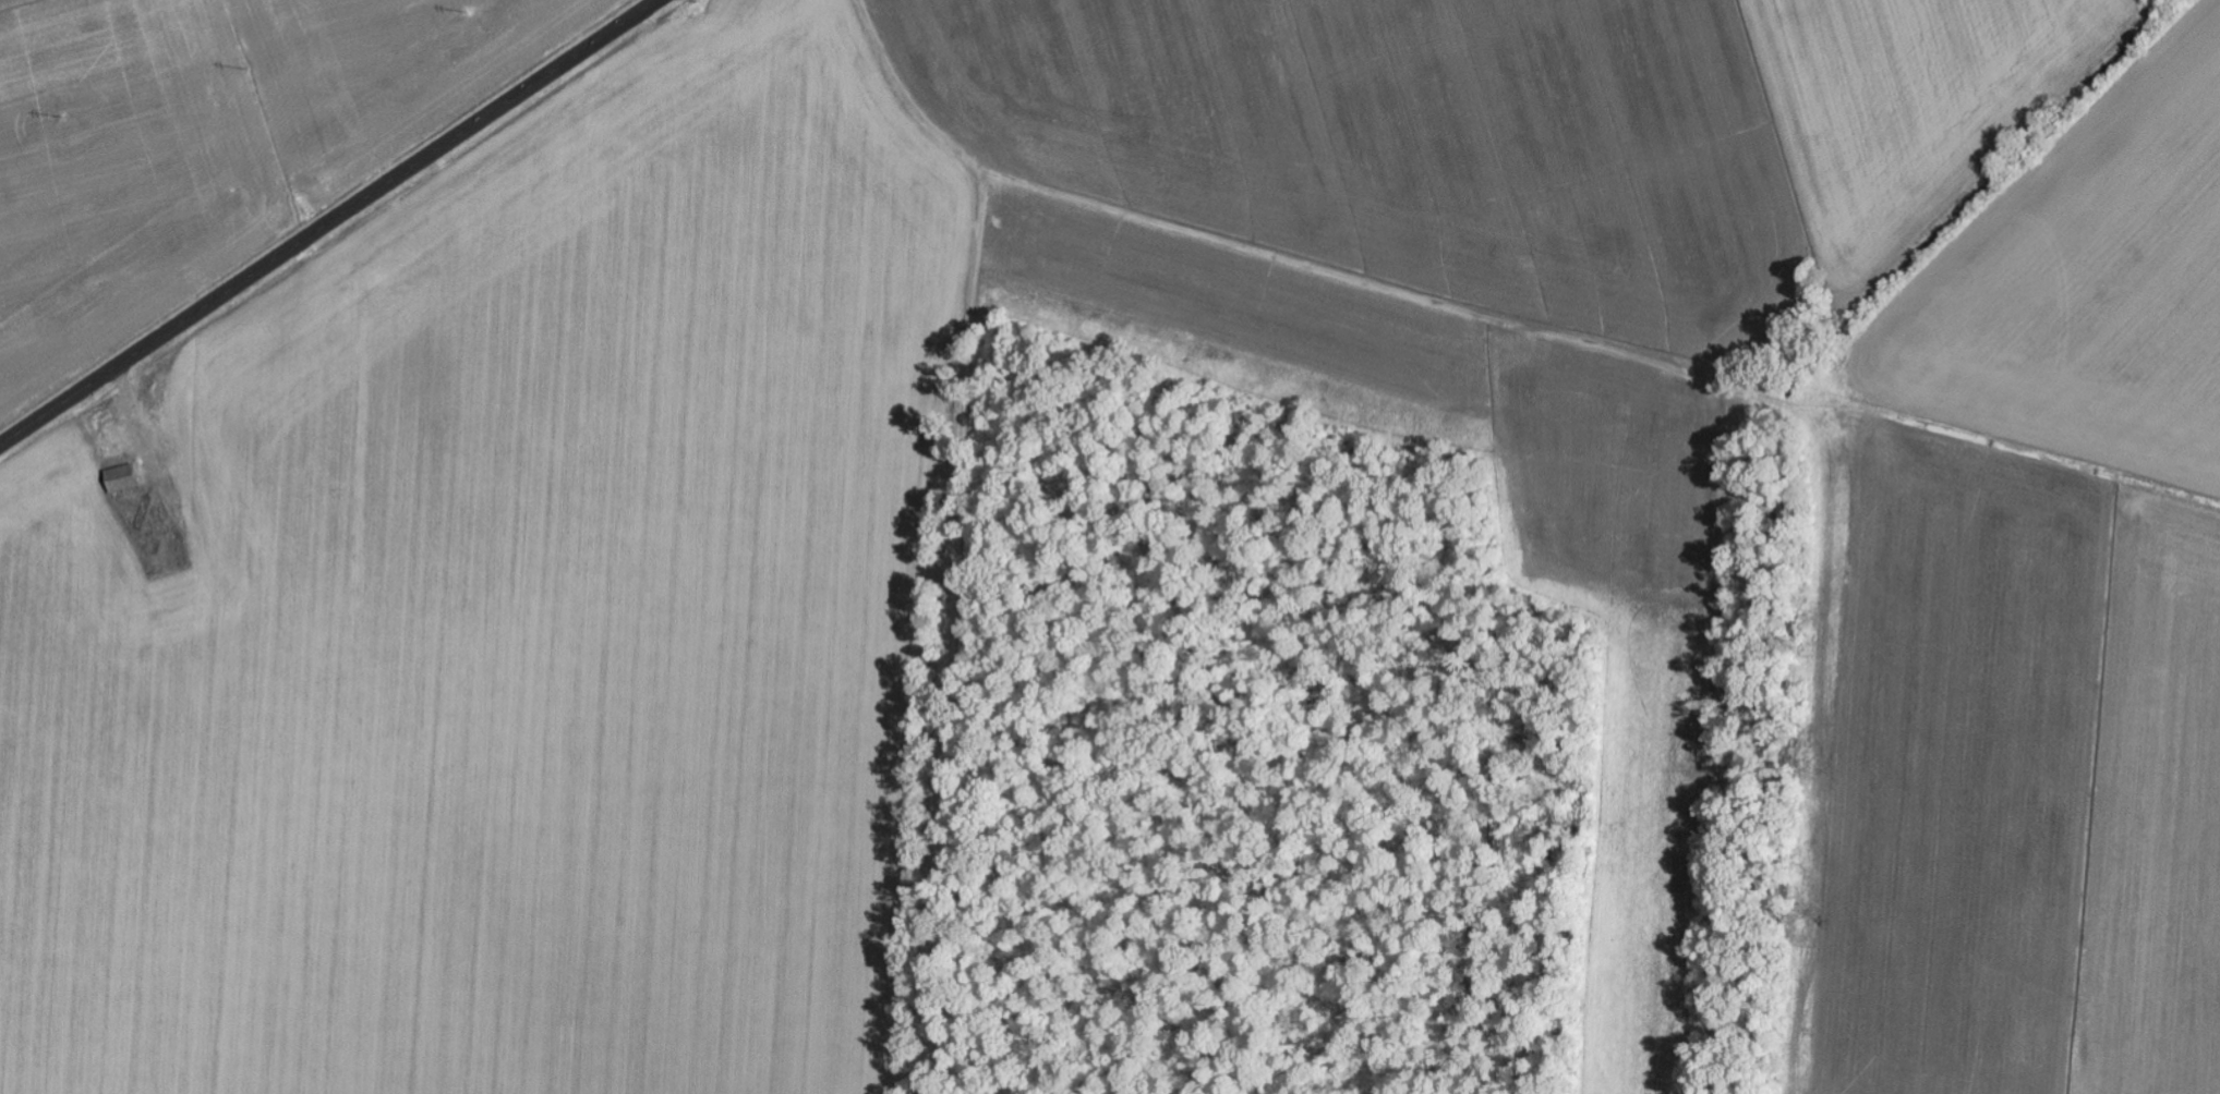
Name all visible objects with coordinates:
road: (328, 221)
building: (123, 479)

